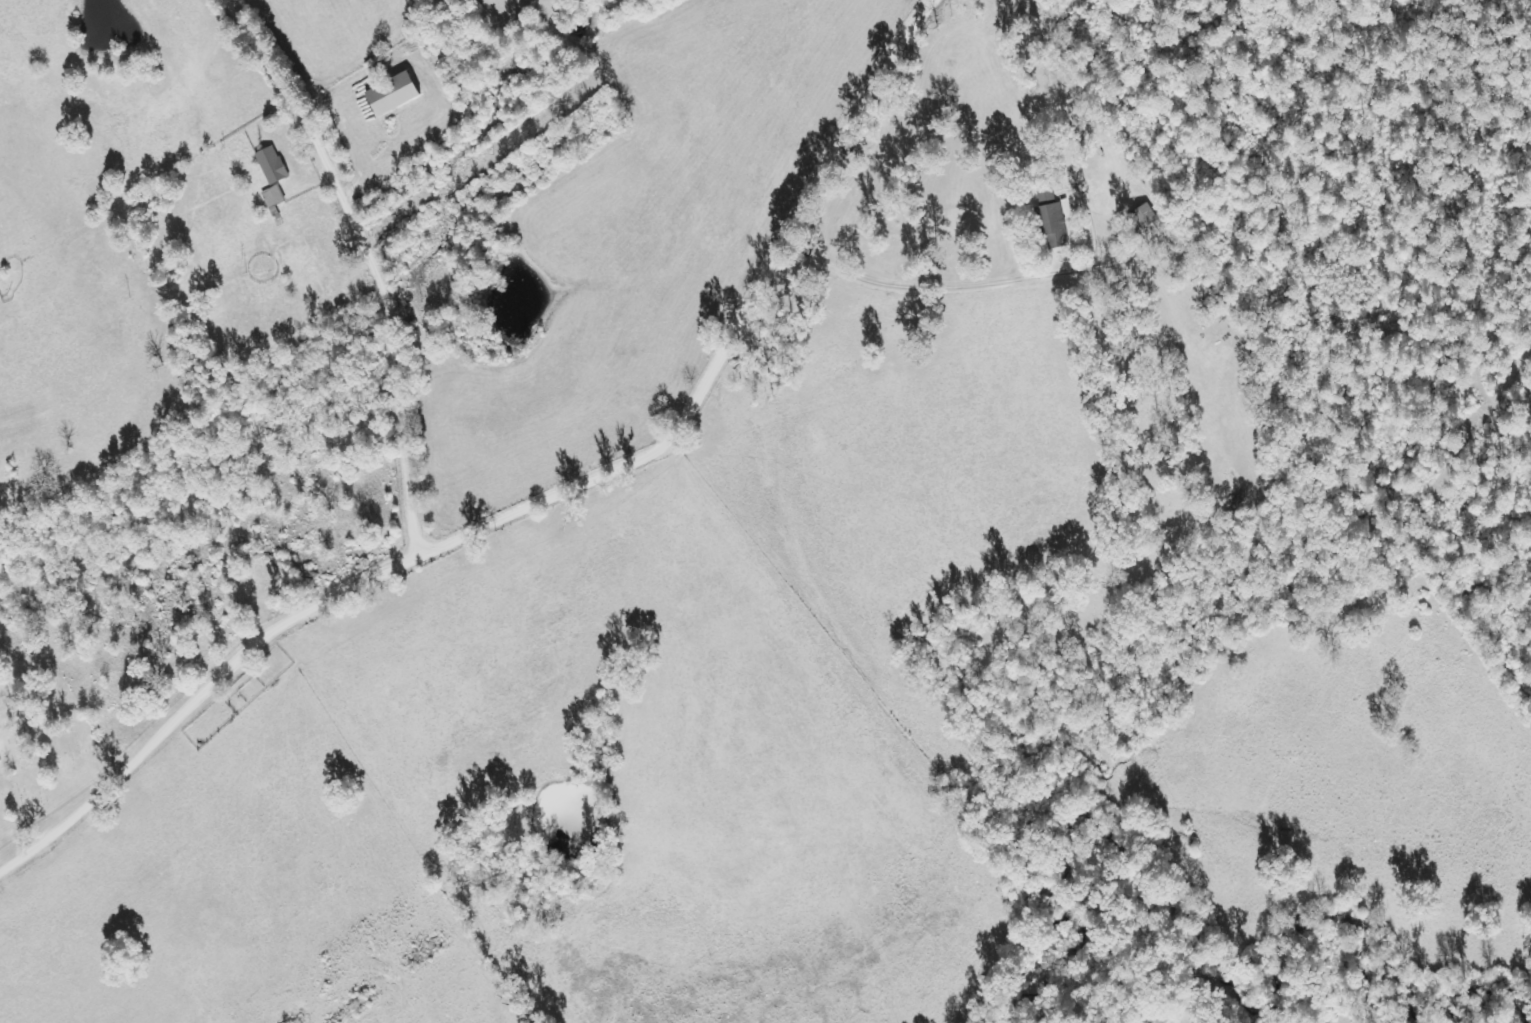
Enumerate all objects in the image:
building: (388, 94)
building: (269, 166)
building: (271, 197)
building: (1141, 218)
building: (1050, 221)
road: (345, 264)
road: (523, 492)
park: (40, 745)

